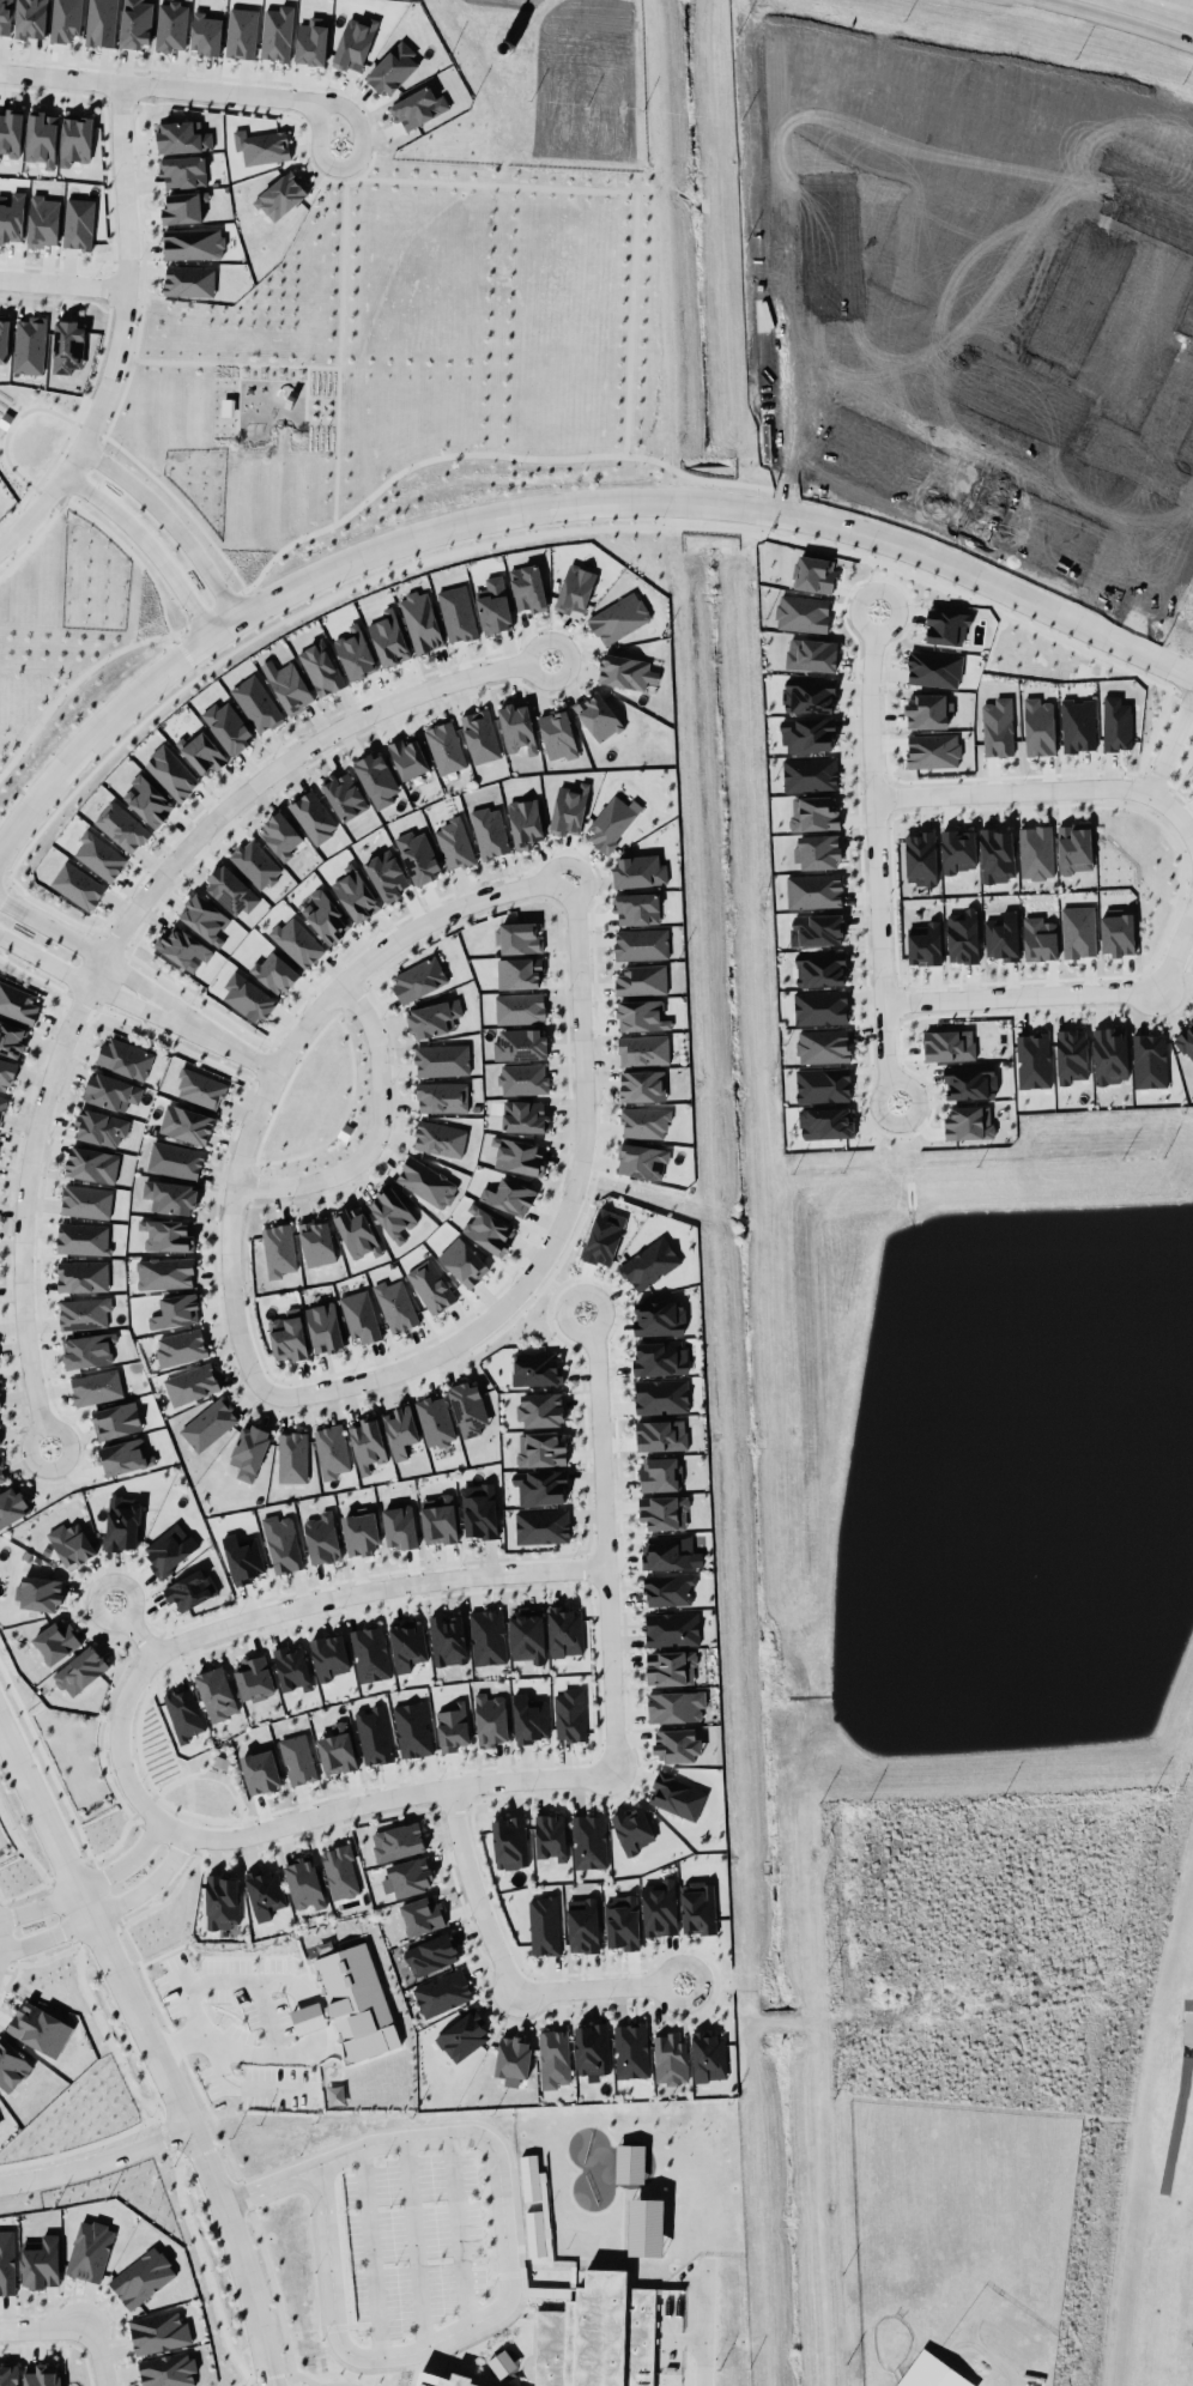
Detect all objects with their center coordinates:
building: (5, 16)
building: (28, 16)
building: (66, 19)
road: (1120, 19)
building: (101, 22)
building: (135, 23)
building: (169, 24)
building: (205, 29)
building: (241, 32)
building: (277, 32)
building: (353, 38)
building: (311, 40)
building: (389, 63)
road: (156, 84)
building: (416, 107)
building: (11, 131)
building: (38, 133)
building: (182, 137)
building: (75, 138)
building: (265, 147)
road: (351, 159)
building: (182, 166)
building: (280, 195)
building: (181, 201)
building: (12, 216)
building: (42, 216)
building: (77, 219)
building: (189, 240)
building: (187, 277)
road: (61, 283)
road: (117, 328)
building: (4, 338)
building: (28, 341)
building: (66, 343)
building: (226, 406)
road: (488, 462)
road: (555, 504)
road: (165, 520)
road: (540, 529)
road: (144, 541)
building: (813, 574)
building: (527, 587)
building: (575, 588)
building: (492, 602)
road: (211, 608)
building: (453, 608)
building: (801, 611)
building: (618, 616)
building: (420, 618)
building: (944, 623)
road: (176, 631)
building: (389, 637)
road: (184, 652)
building: (355, 652)
building: (811, 654)
building: (932, 665)
building: (321, 667)
building: (626, 668)
road: (69, 684)
building: (290, 688)
building: (807, 694)
road: (1182, 695)
building: (254, 702)
building: (926, 707)
building: (598, 716)
building: (226, 723)
building: (1116, 723)
building: (1078, 725)
building: (517, 726)
building: (1038, 726)
building: (997, 727)
building: (805, 729)
building: (557, 733)
building: (478, 734)
road: (1170, 740)
building: (443, 745)
building: (932, 749)
building: (406, 753)
building: (204, 755)
road: (289, 757)
building: (171, 771)
building: (810, 774)
building: (1192, 775)
building: (377, 779)
road: (1046, 788)
building: (343, 791)
building: (147, 799)
building: (569, 809)
building: (813, 812)
building: (311, 814)
building: (611, 819)
building: (525, 822)
building: (121, 828)
building: (490, 831)
building: (280, 834)
building: (455, 843)
building: (1071, 846)
building: (817, 847)
building: (958, 849)
building: (97, 852)
building: (416, 852)
building: (1036, 852)
road: (876, 854)
building: (919, 854)
building: (997, 854)
building: (253, 860)
building: (637, 867)
building: (384, 870)
building: (77, 883)
road: (2, 885)
building: (230, 886)
building: (813, 888)
building: (355, 894)
building: (635, 906)
building: (325, 913)
building: (202, 914)
road: (52, 926)
building: (816, 928)
building: (1076, 928)
building: (1116, 931)
building: (515, 933)
road: (399, 935)
building: (962, 935)
building: (1003, 935)
building: (295, 938)
building: (1038, 938)
building: (641, 943)
building: (923, 943)
building: (184, 949)
building: (819, 968)
building: (274, 971)
building: (519, 974)
building: (638, 976)
building: (418, 979)
road: (108, 991)
road: (1066, 992)
building: (248, 997)
building: (17, 999)
building: (817, 1004)
building: (520, 1007)
building: (637, 1010)
building: (432, 1013)
road: (214, 1036)
building: (1185, 1037)
building: (11, 1038)
building: (519, 1043)
building: (823, 1044)
building: (949, 1044)
building: (644, 1050)
building: (1068, 1050)
building: (1110, 1054)
building: (1031, 1055)
building: (126, 1058)
building: (441, 1059)
building: (1149, 1060)
building: (6, 1073)
building: (522, 1078)
building: (970, 1082)
building: (822, 1084)
building: (642, 1085)
building: (110, 1088)
building: (200, 1088)
building: (442, 1096)
building: (1, 1106)
building: (525, 1115)
building: (642, 1116)
building: (824, 1118)
building: (967, 1118)
building: (184, 1120)
building: (101, 1127)
road: (376, 1132)
building: (440, 1137)
building: (519, 1155)
building: (637, 1155)
building: (175, 1159)
building: (91, 1163)
building: (425, 1177)
building: (507, 1192)
road: (28, 1195)
building: (170, 1198)
building: (86, 1200)
building: (392, 1213)
road: (557, 1224)
building: (356, 1225)
building: (489, 1230)
road: (229, 1231)
building: (166, 1236)
building: (604, 1236)
building: (83, 1237)
building: (315, 1239)
building: (278, 1249)
building: (461, 1258)
building: (648, 1258)
building: (80, 1272)
building: (164, 1272)
building: (429, 1282)
building: (394, 1301)
building: (176, 1310)
building: (84, 1312)
building: (359, 1313)
building: (659, 1318)
building: (322, 1325)
building: (287, 1334)
building: (180, 1344)
building: (86, 1345)
building: (660, 1357)
building: (537, 1370)
building: (188, 1380)
building: (96, 1386)
building: (659, 1393)
building: (0, 1404)
building: (468, 1407)
building: (541, 1409)
building: (116, 1419)
building: (435, 1419)
building: (208, 1421)
building: (400, 1430)
building: (661, 1434)
building: (539, 1443)
building: (367, 1445)
building: (332, 1451)
building: (249, 1453)
building: (121, 1454)
building: (292, 1458)
building: (658, 1467)
building: (1, 1471)
building: (540, 1485)
building: (11, 1500)
building: (478, 1509)
building: (664, 1512)
building: (438, 1519)
building: (122, 1522)
building: (541, 1522)
building: (399, 1526)
building: (357, 1527)
building: (322, 1537)
road: (604, 1538)
building: (71, 1543)
building: (281, 1543)
building: (169, 1548)
building: (664, 1549)
building: (243, 1557)
building: (37, 1586)
building: (189, 1588)
building: (668, 1589)
road: (271, 1609)
road: (134, 1625)
building: (670, 1625)
building: (565, 1630)
building: (527, 1634)
building: (488, 1636)
building: (55, 1637)
building: (448, 1639)
building: (407, 1643)
building: (370, 1653)
building: (329, 1655)
building: (670, 1666)
building: (292, 1667)
building: (80, 1670)
building: (253, 1678)
building: (217, 1694)
building: (674, 1706)
building: (569, 1710)
building: (183, 1713)
building: (527, 1714)
building: (490, 1719)
building: (411, 1725)
building: (452, 1726)
building: (374, 1734)
building: (676, 1744)
building: (337, 1748)
building: (297, 1758)
road: (44, 1764)
building: (260, 1770)
road: (395, 1793)
building: (676, 1795)
building: (632, 1828)
building: (395, 1836)
building: (550, 1836)
building: (587, 1837)
building: (509, 1842)
road: (20, 1853)
building: (340, 1871)
building: (410, 1876)
road: (89, 1879)
building: (304, 1882)
building: (265, 1888)
road: (105, 1891)
building: (222, 1901)
road: (104, 1907)
building: (660, 1907)
building: (698, 1907)
building: (419, 1910)
road: (57, 1915)
building: (622, 1921)
building: (544, 1924)
building: (582, 1924)
building: (430, 1948)
road: (505, 1968)
building: (441, 1990)
building: (356, 2000)
road: (268, 2016)
building: (310, 2017)
building: (38, 2023)
building: (462, 2031)
road: (105, 2035)
building: (592, 2047)
road: (156, 2049)
building: (631, 2049)
building: (513, 2055)
building: (709, 2055)
building: (553, 2058)
building: (670, 2058)
building: (11, 2065)
road: (237, 2087)
road: (162, 2133)
road: (80, 2148)
road: (225, 2150)
road: (199, 2152)
road: (97, 2158)
building: (630, 2162)
building: (545, 2204)
building: (646, 2227)
road: (458, 2229)
road: (418, 2241)
building: (90, 2249)
road: (371, 2249)
building: (7, 2259)
building: (40, 2261)
road: (504, 2263)
road: (202, 2269)
building: (141, 2276)
park: (1188, 2321)
road: (46, 2325)
building: (158, 2331)
building: (598, 2334)
road: (703, 2336)
road: (101, 2355)
building: (502, 2362)
building: (166, 2368)
building: (932, 2374)
building: (8, 2375)
building: (40, 2375)
building: (453, 2381)

